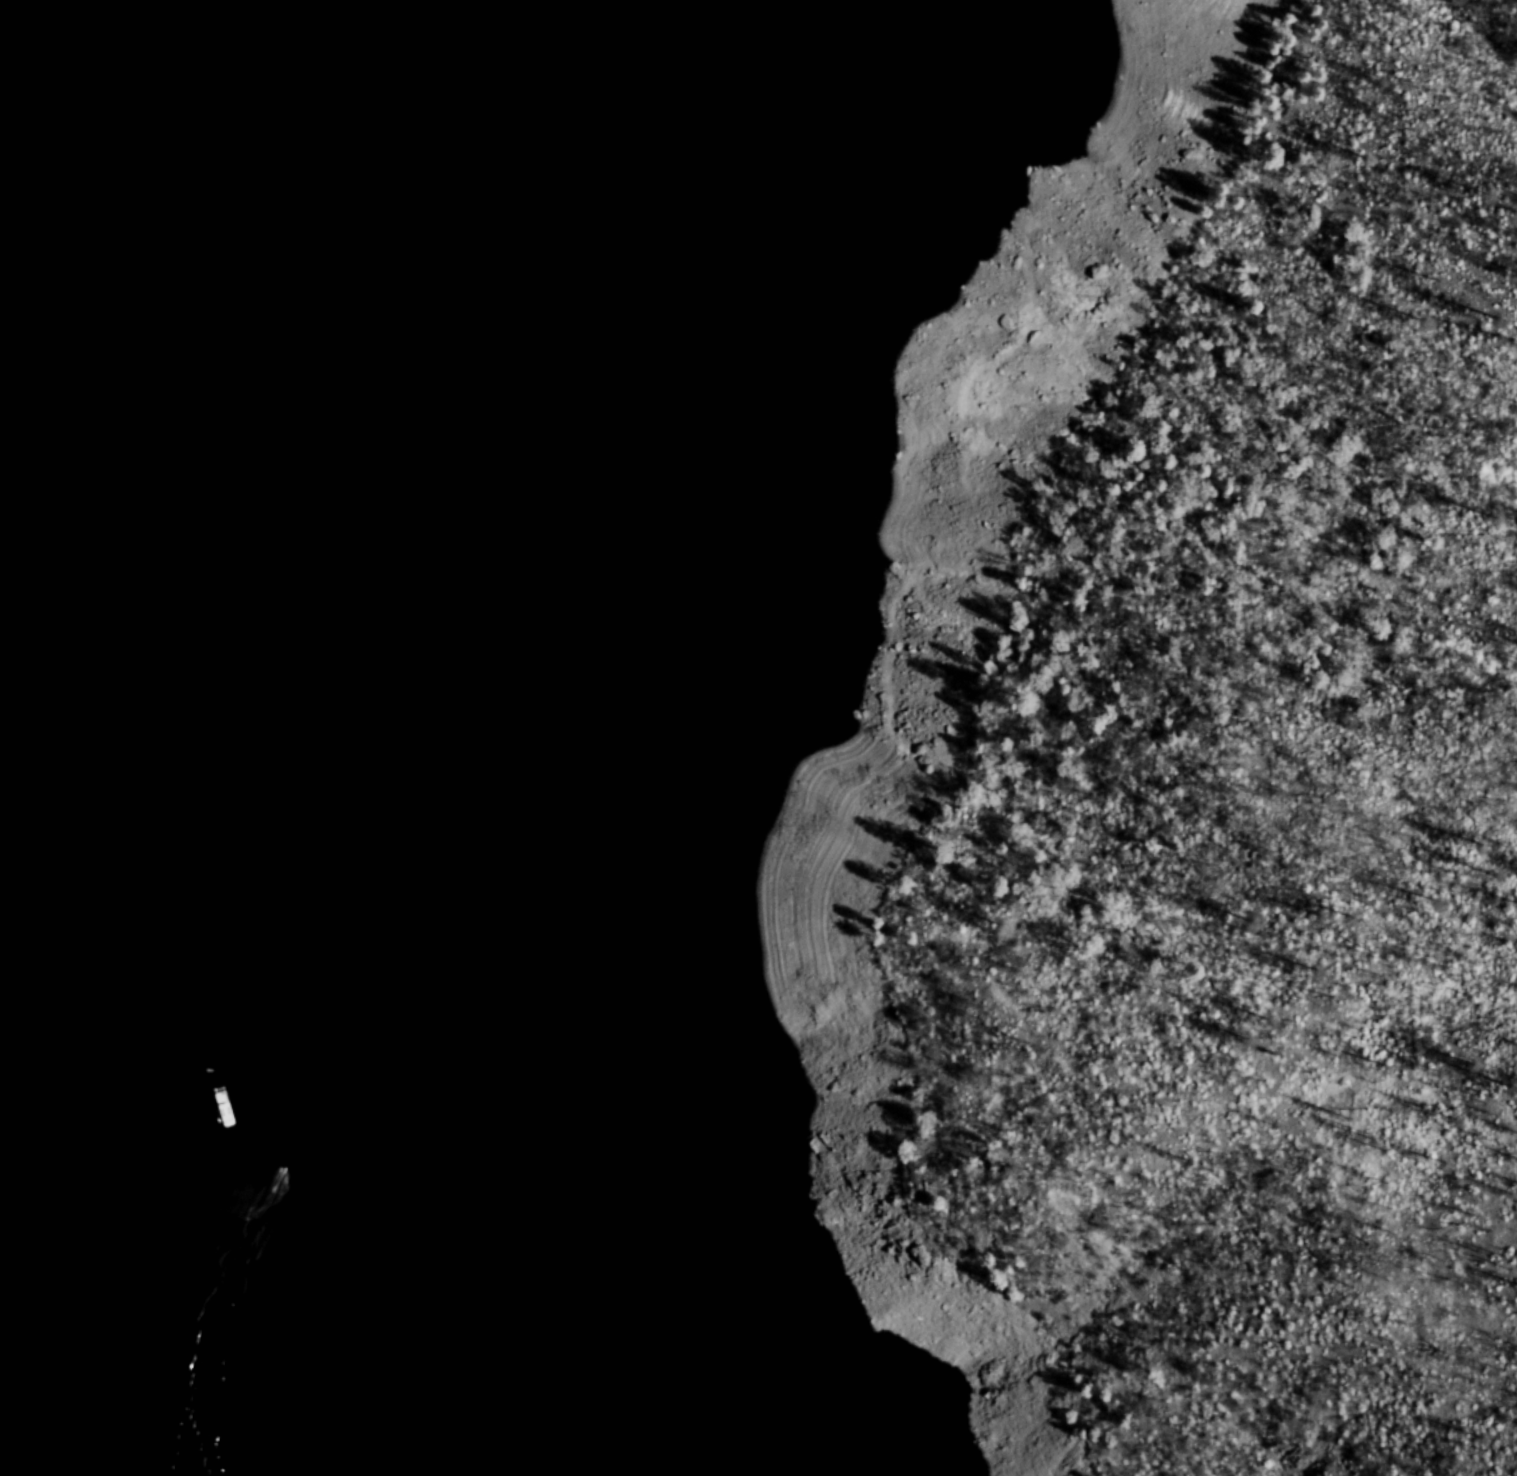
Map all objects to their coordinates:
river: (404, 386)
river: (81, 663)
river: (264, 1124)

